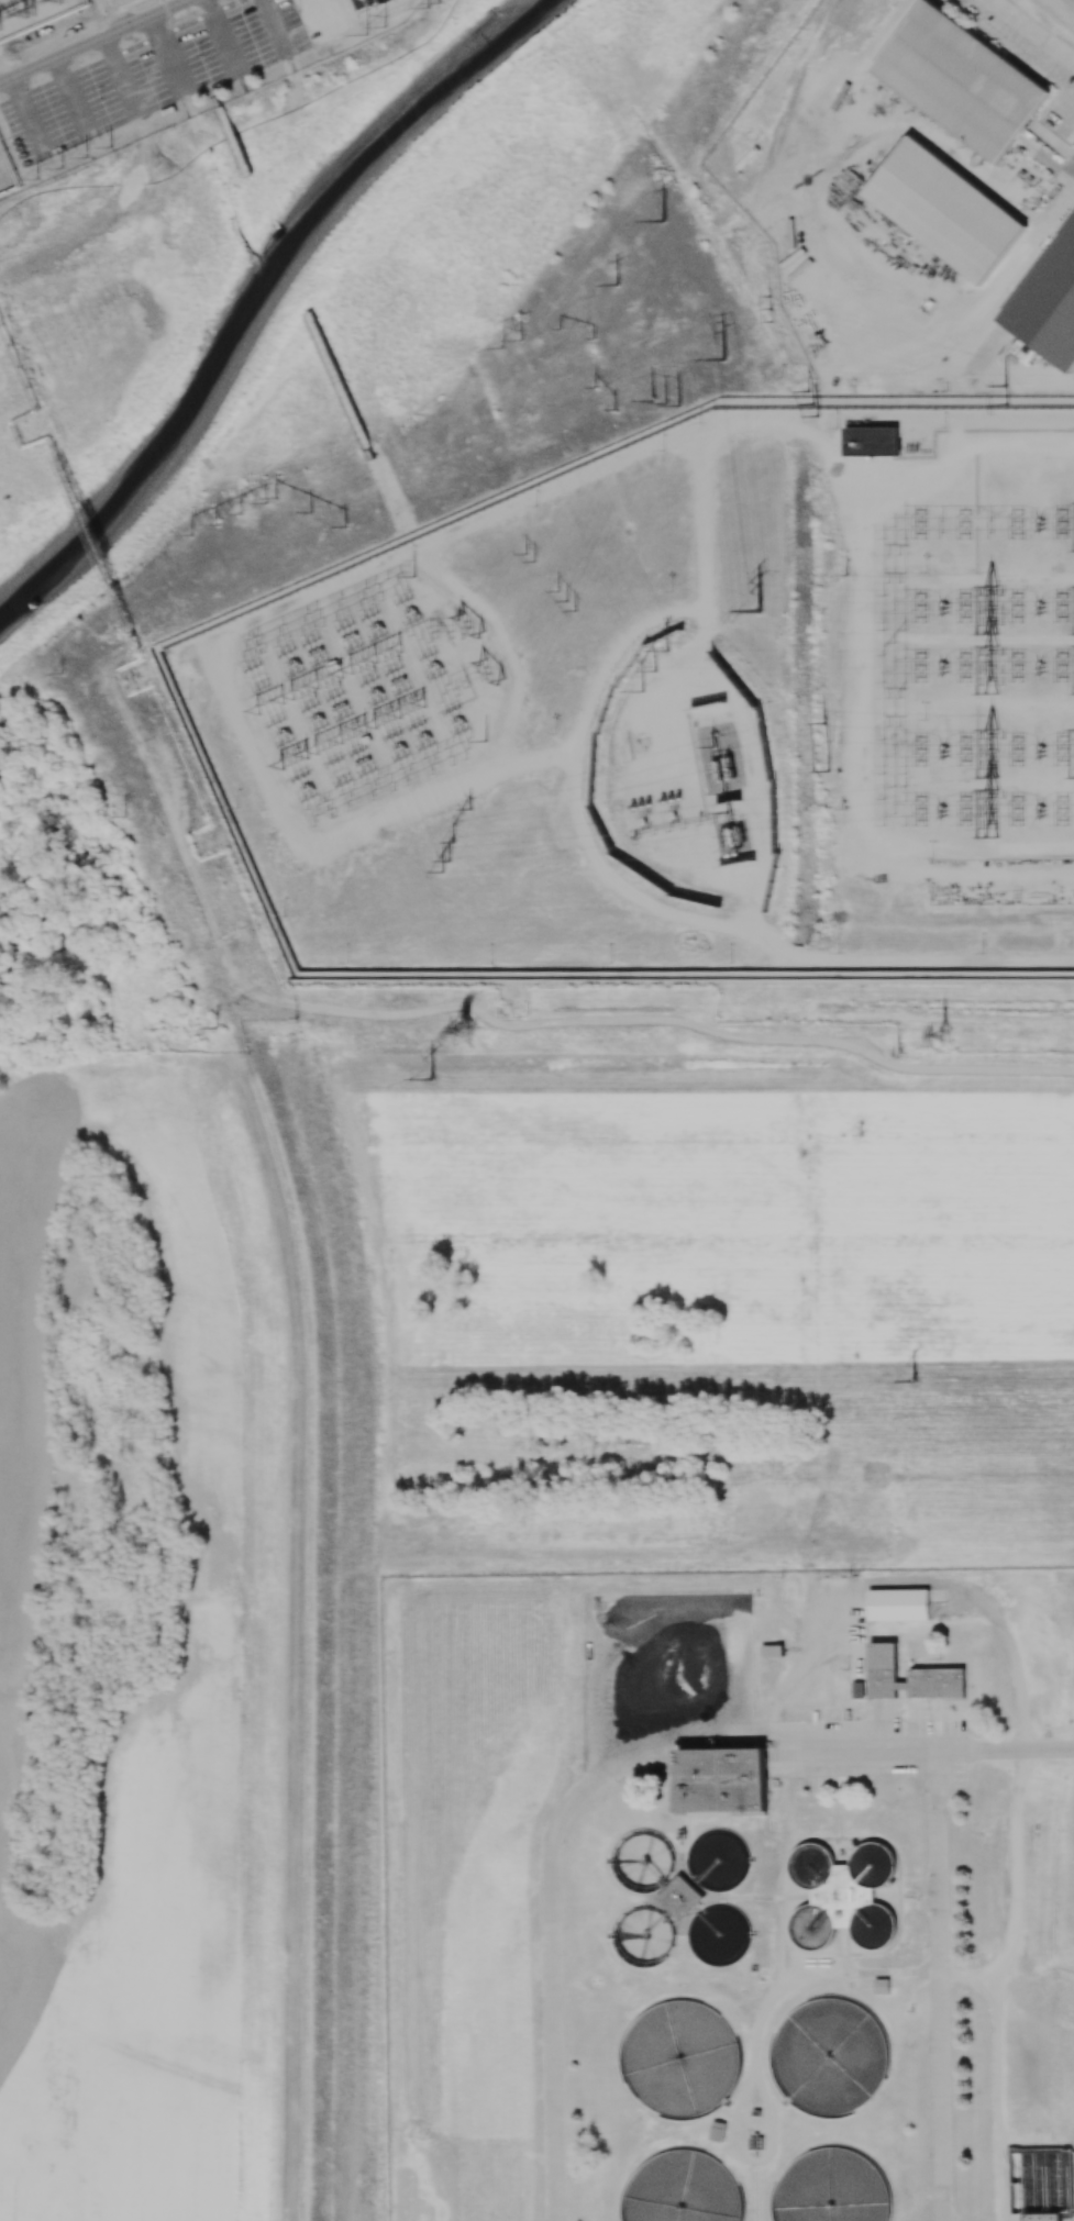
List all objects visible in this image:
power tower: (46, 10)
power tower: (15, 21)
road: (1032, 30)
power tower: (374, 31)
road: (87, 40)
power tower: (100, 153)
power tower: (75, 163)
road: (1071, 165)
power tower: (52, 173)
power tower: (664, 222)
power tower: (617, 287)
river: (267, 291)
power tower: (773, 308)
power tower: (578, 335)
power tower: (516, 346)
power tower: (724, 363)
power tower: (1005, 388)
power tower: (605, 401)
power tower: (813, 404)
power tower: (664, 406)
power tower: (1008, 407)
road: (732, 424)
power tower: (253, 508)
power plant: (562, 509)
power tower: (311, 513)
power tower: (229, 520)
power tower: (204, 530)
power tower: (531, 558)
power tower: (568, 601)
power tower: (999, 604)
power tower: (761, 612)
power tower: (469, 625)
power substation: (962, 640)
power tower: (387, 654)
power tower: (363, 665)
power tower: (993, 667)
power tower: (657, 671)
power tower: (489, 673)
power tower: (66, 674)
power substation: (365, 697)
power tower: (350, 733)
power tower: (826, 746)
power tower: (997, 752)
power tower: (291, 760)
power substation: (677, 799)
power tower: (996, 812)
power tower: (123, 815)
power tower: (465, 826)
power tower: (446, 867)
power tower: (473, 1024)
power tower: (218, 1030)
power tower: (953, 1036)
power tower: (427, 1078)
road: (291, 1381)
power tower: (915, 1382)
road: (1020, 1745)
wastewater plant: (730, 1895)

